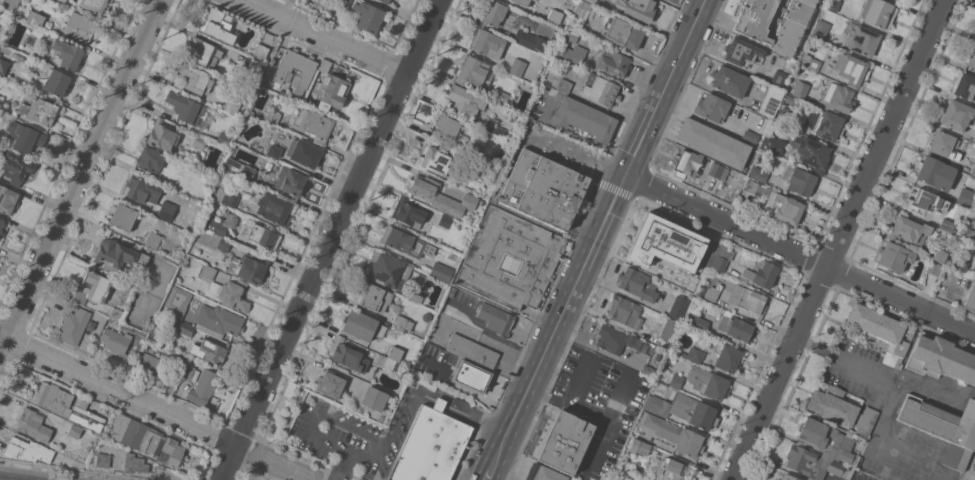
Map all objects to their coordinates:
building: (534, 0)
building: (673, 0)
building: (895, 0)
building: (387, 1)
building: (592, 1)
building: (344, 2)
building: (522, 2)
building: (10, 4)
building: (832, 4)
building: (95, 5)
building: (642, 9)
building: (494, 12)
building: (825, 12)
building: (878, 13)
building: (580, 14)
building: (368, 16)
building: (555, 16)
building: (35, 17)
building: (216, 25)
building: (80, 26)
building: (749, 28)
building: (820, 29)
building: (37, 30)
building: (624, 32)
building: (571, 36)
road: (325, 37)
building: (861, 39)
building: (529, 40)
building: (487, 43)
building: (261, 51)
building: (202, 52)
building: (742, 52)
building: (65, 53)
building: (575, 53)
building: (972, 58)
building: (614, 63)
building: (813, 64)
building: (254, 65)
building: (324, 65)
building: (3, 66)
building: (517, 67)
building: (296, 69)
building: (851, 69)
building: (474, 72)
building: (778, 78)
building: (196, 80)
building: (729, 81)
building: (57, 82)
building: (566, 86)
building: (965, 86)
building: (801, 89)
building: (331, 91)
building: (601, 91)
building: (502, 97)
building: (838, 98)
building: (1, 99)
building: (465, 99)
building: (789, 99)
building: (771, 101)
building: (233, 105)
building: (185, 107)
building: (712, 107)
building: (38, 109)
building: (782, 114)
building: (957, 115)
building: (272, 116)
building: (584, 118)
building: (828, 125)
building: (317, 126)
building: (445, 126)
building: (494, 126)
road: (575, 133)
building: (162, 135)
building: (24, 136)
building: (750, 136)
building: (224, 138)
building: (462, 138)
building: (974, 139)
building: (199, 141)
building: (714, 143)
building: (773, 144)
building: (944, 145)
road: (564, 147)
building: (274, 151)
building: (305, 153)
building: (814, 154)
building: (150, 159)
building: (435, 159)
building: (482, 165)
building: (15, 167)
building: (703, 167)
building: (238, 168)
road: (613, 170)
building: (973, 170)
building: (758, 173)
building: (935, 173)
road: (80, 174)
building: (799, 180)
building: (290, 183)
building: (143, 189)
building: (542, 190)
building: (227, 196)
building: (440, 196)
building: (965, 196)
building: (7, 199)
building: (775, 202)
building: (925, 202)
building: (274, 208)
building: (165, 211)
building: (408, 212)
building: (123, 216)
road: (607, 218)
building: (444, 220)
building: (947, 225)
building: (217, 226)
building: (2, 227)
building: (909, 230)
building: (262, 234)
building: (969, 235)
building: (395, 238)
road: (328, 239)
building: (153, 240)
road: (840, 240)
building: (664, 242)
building: (224, 243)
road: (802, 253)
building: (118, 254)
building: (893, 255)
building: (940, 255)
building: (537, 257)
building: (723, 257)
building: (423, 263)
building: (961, 264)
building: (252, 268)
building: (388, 270)
building: (439, 271)
building: (208, 272)
building: (762, 274)
building: (930, 276)
building: (637, 284)
building: (93, 288)
building: (701, 290)
building: (712, 293)
building: (231, 294)
building: (414, 296)
building: (374, 297)
building: (748, 299)
building: (970, 299)
building: (679, 307)
building: (176, 309)
building: (625, 312)
building: (116, 313)
building: (495, 318)
building: (219, 319)
building: (402, 322)
building: (699, 323)
building: (362, 325)
building: (74, 326)
building: (182, 327)
building: (737, 327)
building: (882, 331)
building: (668, 333)
building: (616, 339)
building: (116, 341)
building: (379, 347)
building: (209, 351)
building: (473, 351)
building: (395, 353)
building: (693, 353)
building: (346, 354)
building: (725, 356)
building: (941, 358)
building: (385, 362)
building: (151, 364)
building: (419, 366)
building: (648, 370)
building: (190, 373)
building: (469, 376)
building: (676, 380)
building: (708, 382)
building: (331, 384)
building: (203, 387)
building: (374, 398)
road: (441, 401)
road: (403, 403)
building: (66, 404)
building: (833, 405)
road: (155, 409)
building: (685, 409)
road: (321, 412)
road: (588, 413)
road: (479, 418)
building: (865, 421)
building: (33, 424)
building: (943, 427)
building: (75, 431)
building: (673, 433)
building: (145, 440)
building: (565, 441)
building: (431, 445)
road: (597, 446)
building: (639, 446)
building: (28, 450)
building: (822, 451)
road: (503, 454)
building: (103, 459)
road: (361, 460)
building: (134, 463)
building: (673, 468)
building: (544, 473)
road: (493, 474)
building: (788, 477)
building: (615, 478)
building: (777, 479)

